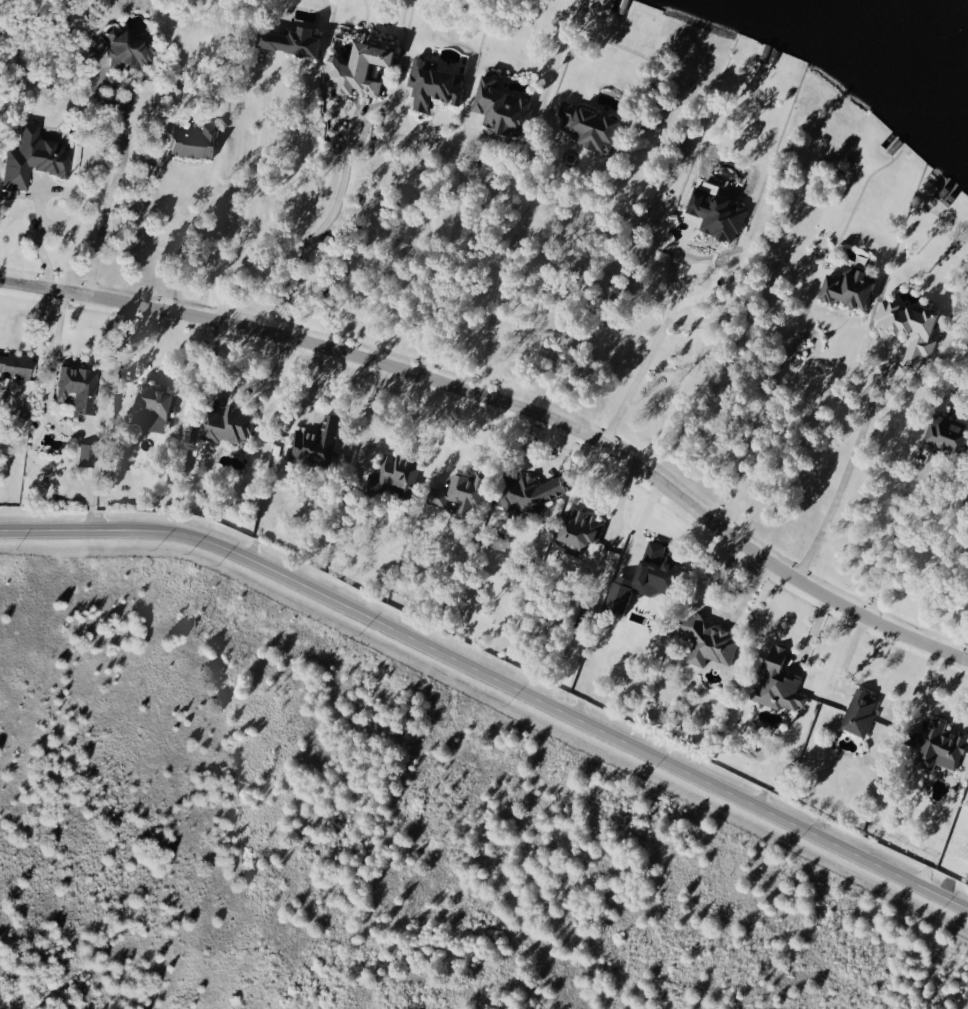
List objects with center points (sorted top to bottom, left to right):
building: (288, 41)
building: (126, 50)
building: (355, 69)
building: (432, 84)
building: (499, 106)
building: (587, 126)
building: (191, 142)
road: (121, 153)
building: (30, 158)
road: (250, 204)
building: (716, 215)
road: (321, 226)
road: (374, 229)
road: (451, 229)
road: (36, 238)
road: (184, 240)
road: (502, 267)
building: (846, 288)
building: (906, 329)
road: (654, 340)
building: (14, 366)
building: (75, 388)
road: (232, 389)
road: (762, 405)
road: (511, 406)
building: (149, 408)
building: (228, 426)
building: (942, 433)
building: (315, 443)
road: (845, 466)
building: (393, 474)
building: (458, 492)
building: (527, 493)
building: (578, 529)
road: (892, 544)
building: (641, 579)
road: (810, 633)
building: (708, 641)
building: (776, 682)
road: (494, 684)
building: (858, 712)
building: (939, 745)

